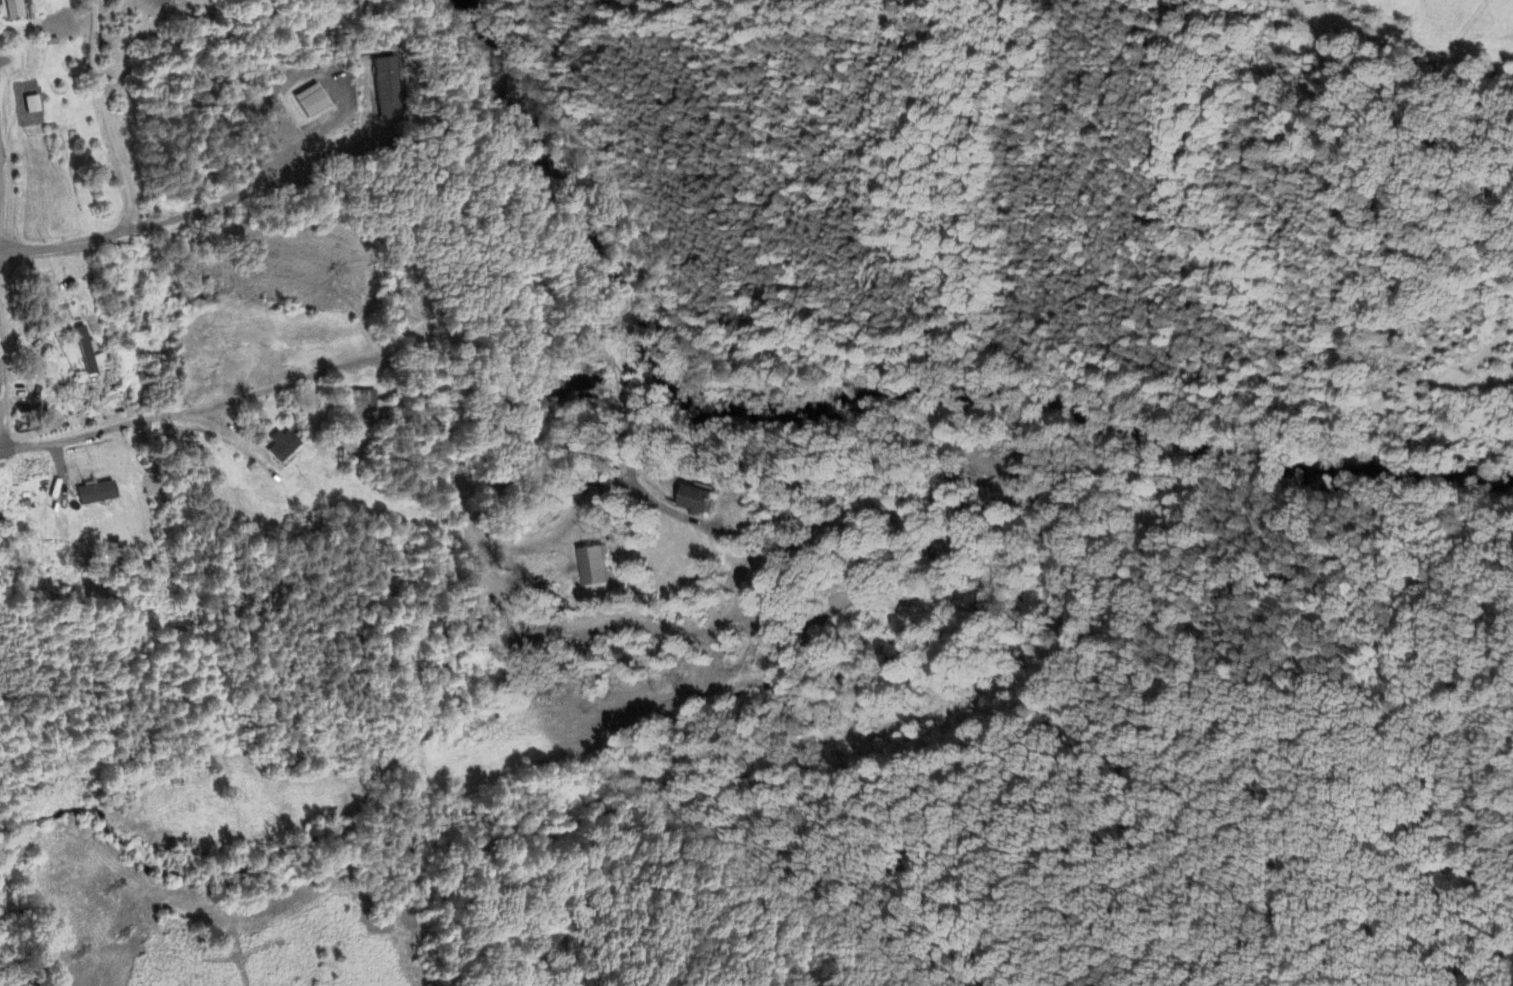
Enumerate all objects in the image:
building: (11, 10)
building: (53, 29)
building: (387, 89)
building: (312, 102)
building: (32, 106)
road: (319, 130)
road: (335, 150)
road: (125, 175)
building: (90, 354)
road: (297, 381)
road: (4, 399)
building: (362, 406)
building: (281, 447)
building: (95, 494)
building: (693, 499)
road: (499, 553)
building: (593, 566)

